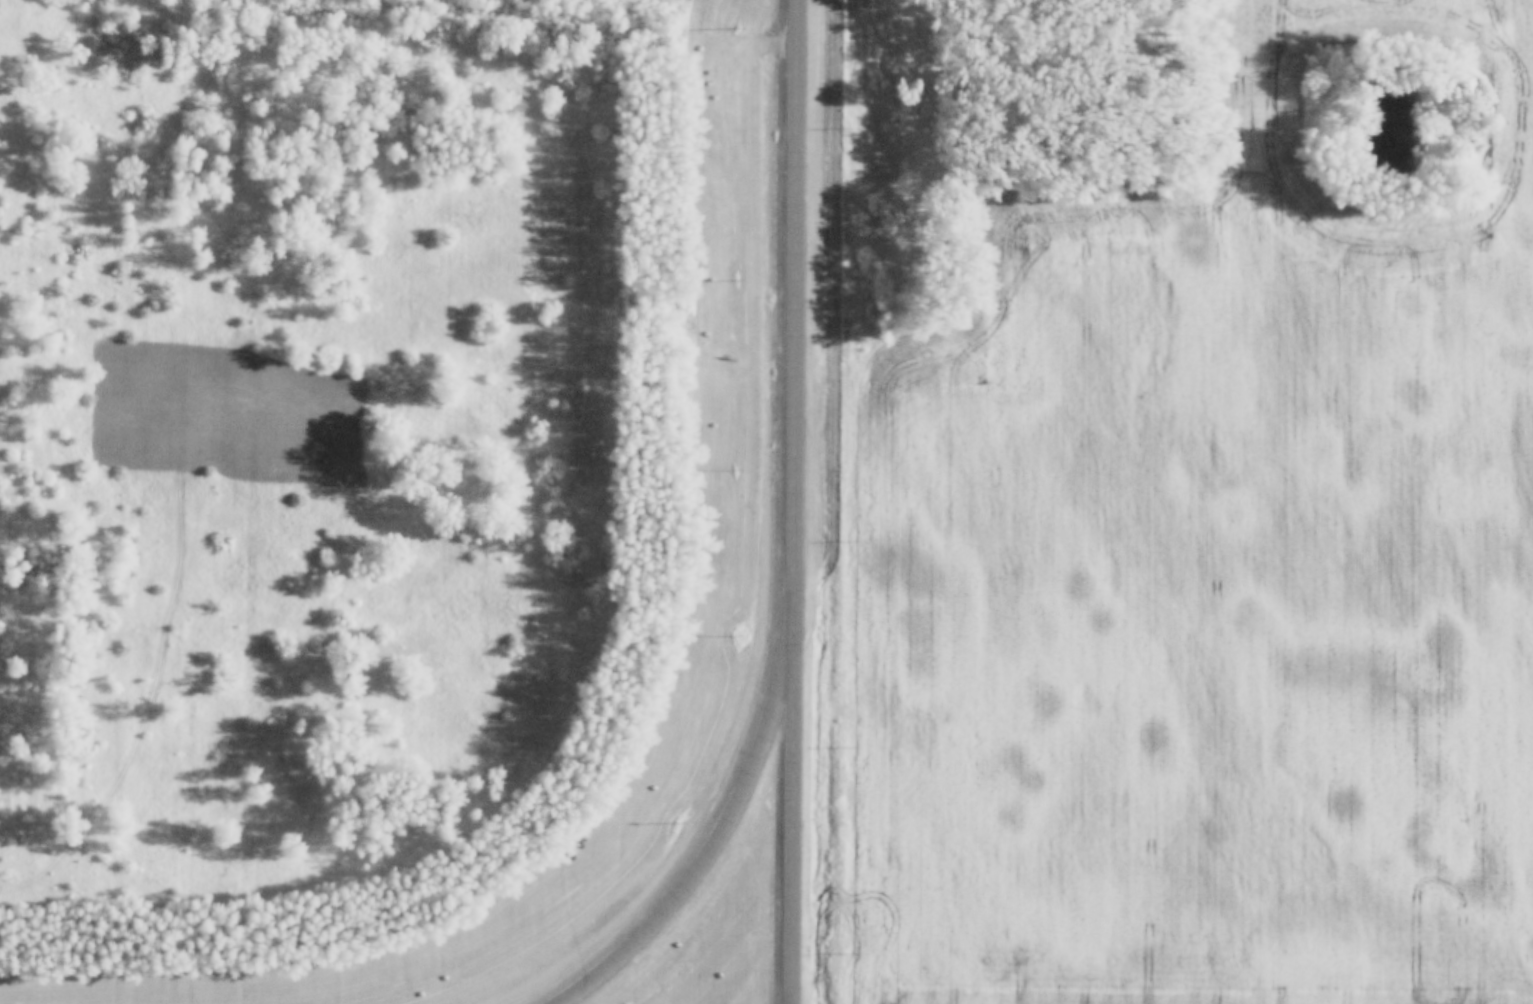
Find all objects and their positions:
road: (737, 171)
road: (799, 501)
road: (716, 846)

